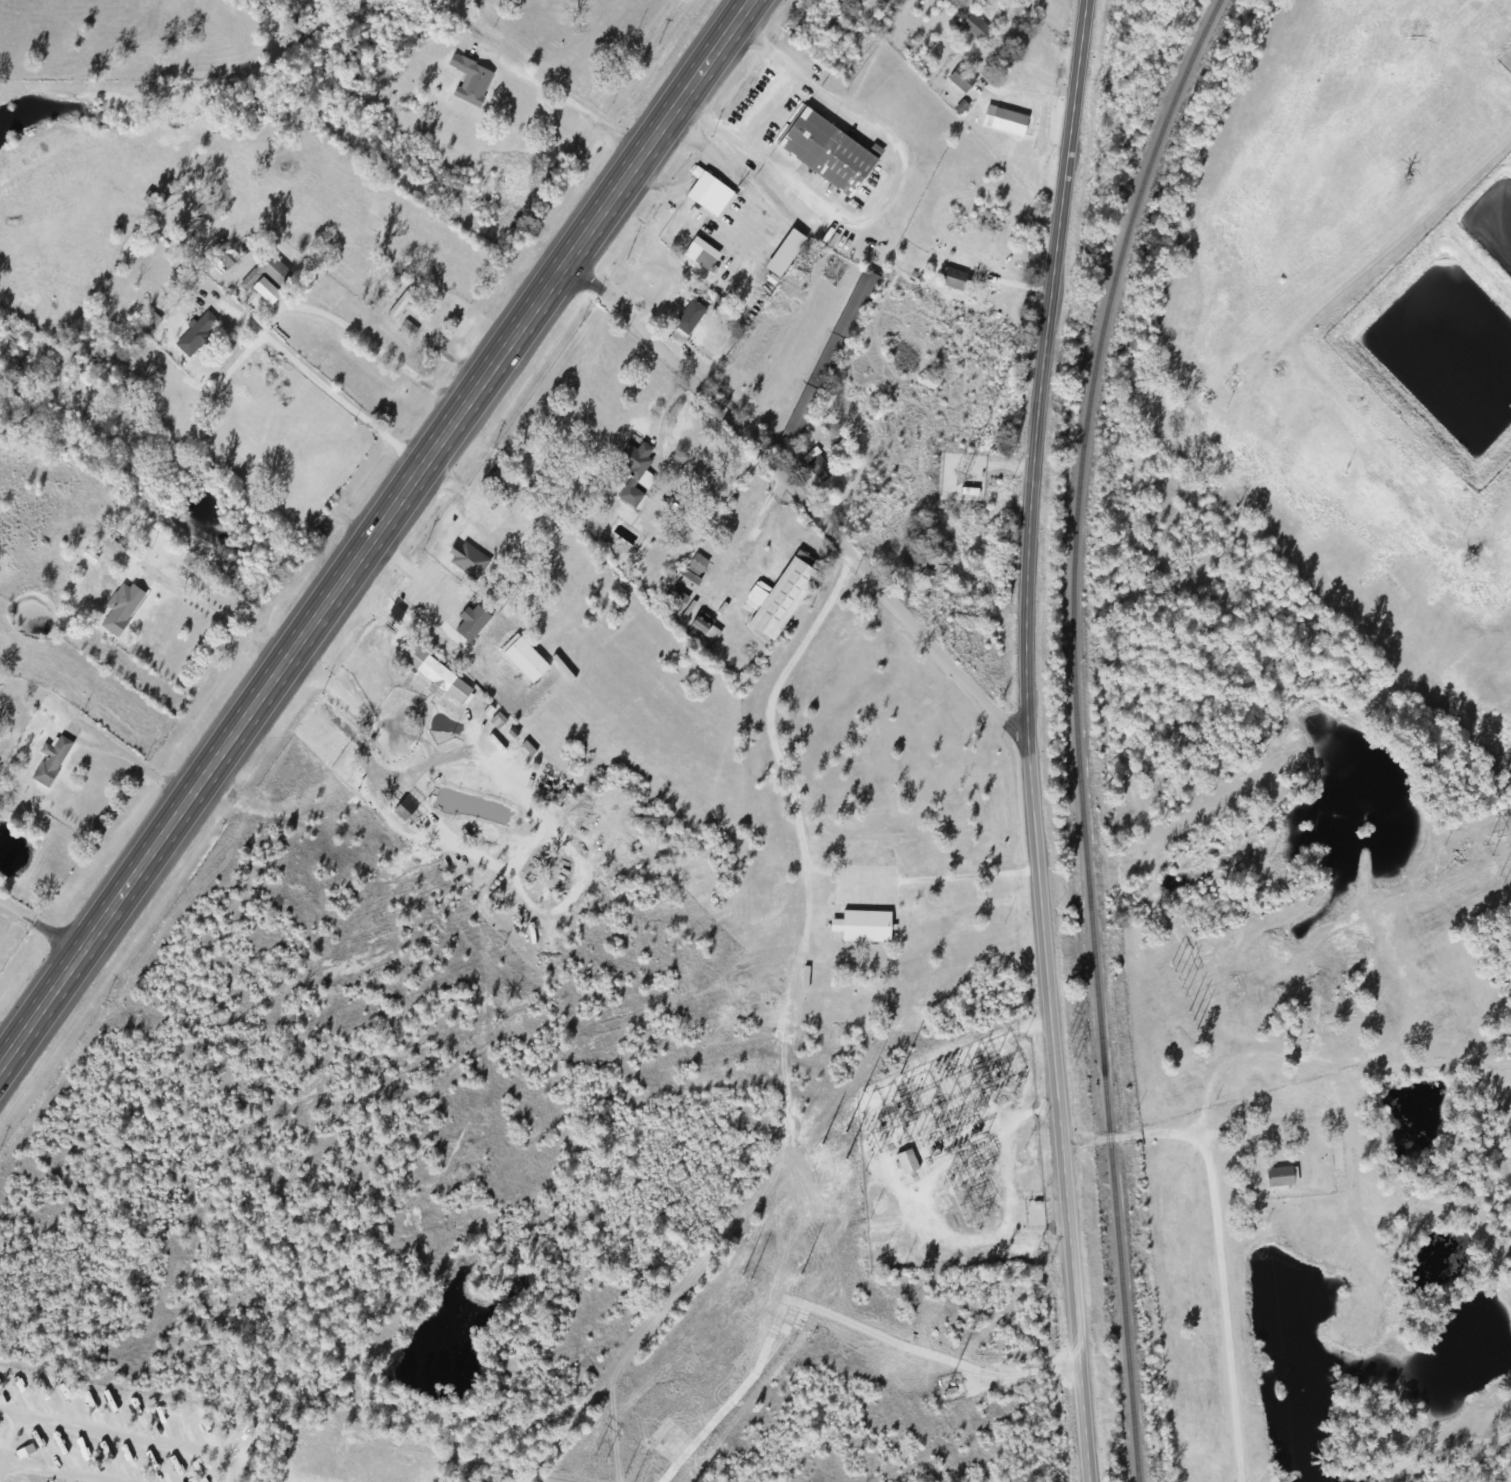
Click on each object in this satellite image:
building: (856, 1)
building: (836, 29)
building: (973, 29)
building: (1504, 58)
building: (960, 81)
building: (469, 82)
road: (559, 96)
building: (1003, 122)
building: (825, 155)
building: (708, 195)
building: (987, 222)
building: (783, 254)
building: (703, 261)
building: (264, 274)
building: (178, 279)
building: (954, 281)
building: (404, 300)
building: (148, 318)
building: (685, 324)
building: (82, 327)
building: (194, 336)
wastewater plant: (1446, 337)
building: (829, 358)
building: (816, 467)
building: (634, 474)
building: (499, 486)
road: (800, 498)
road: (374, 531)
building: (467, 562)
building: (932, 566)
building: (695, 567)
building: (778, 599)
building: (120, 608)
building: (699, 624)
building: (522, 660)
railway: (1076, 730)
road: (1027, 740)
building: (50, 762)
building: (550, 789)
road: (373, 817)
power tower: (1476, 843)
power tower: (1494, 876)
building: (862, 928)
road: (38, 930)
power tower: (1172, 979)
power tower: (1180, 1012)
power tower: (1068, 1035)
power tower: (829, 1138)
power tower: (850, 1157)
power substation: (954, 1158)
building: (905, 1164)
building: (1280, 1178)
building: (1036, 1213)
road: (1227, 1238)
power tower: (800, 1267)
power tower: (747, 1276)
power tower: (591, 1458)
power tower: (627, 1481)

